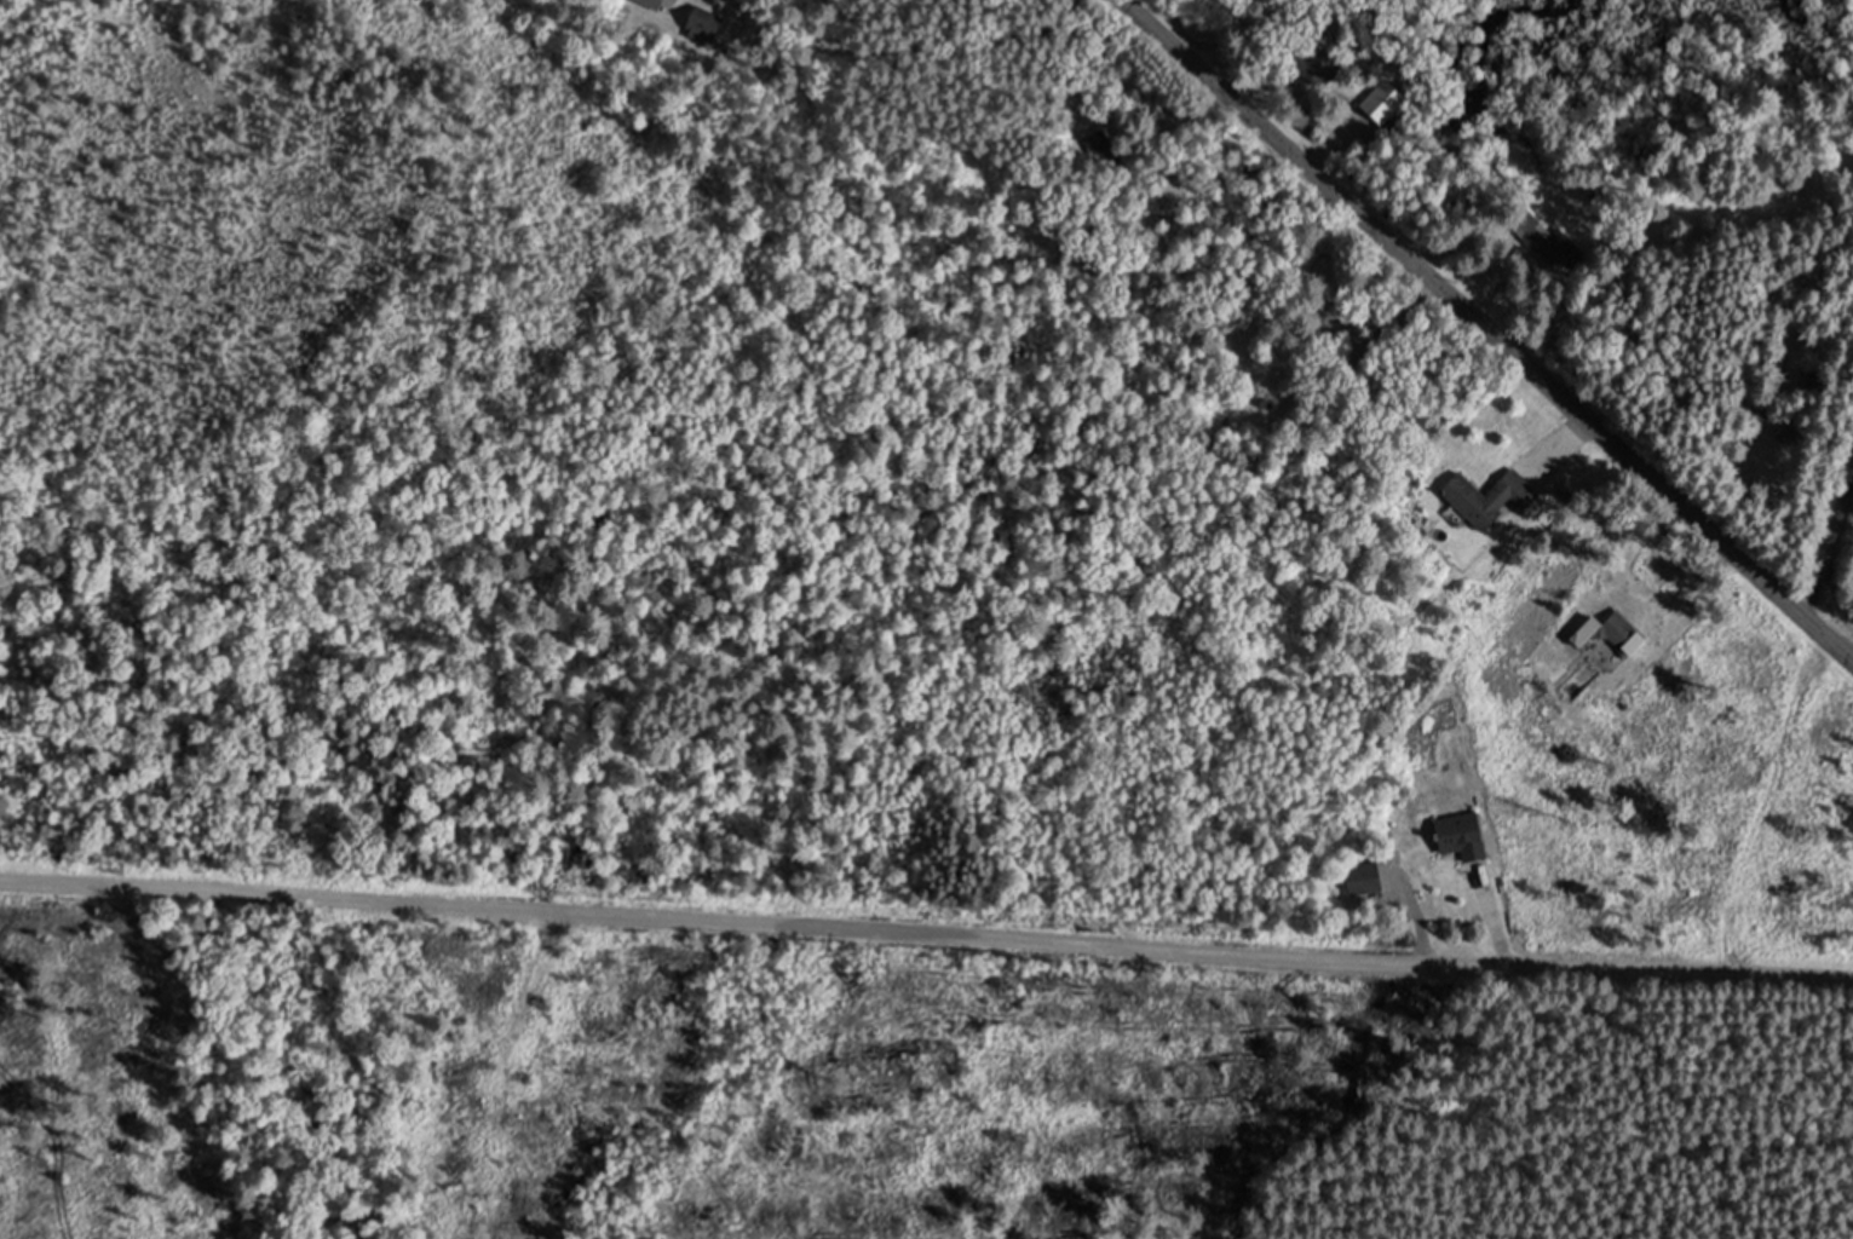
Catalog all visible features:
building: (1366, 127)
road: (1486, 332)
building: (1788, 437)
building: (1492, 499)
road: (1840, 592)
building: (1613, 639)
building: (1464, 837)
road: (1492, 929)
road: (926, 930)

